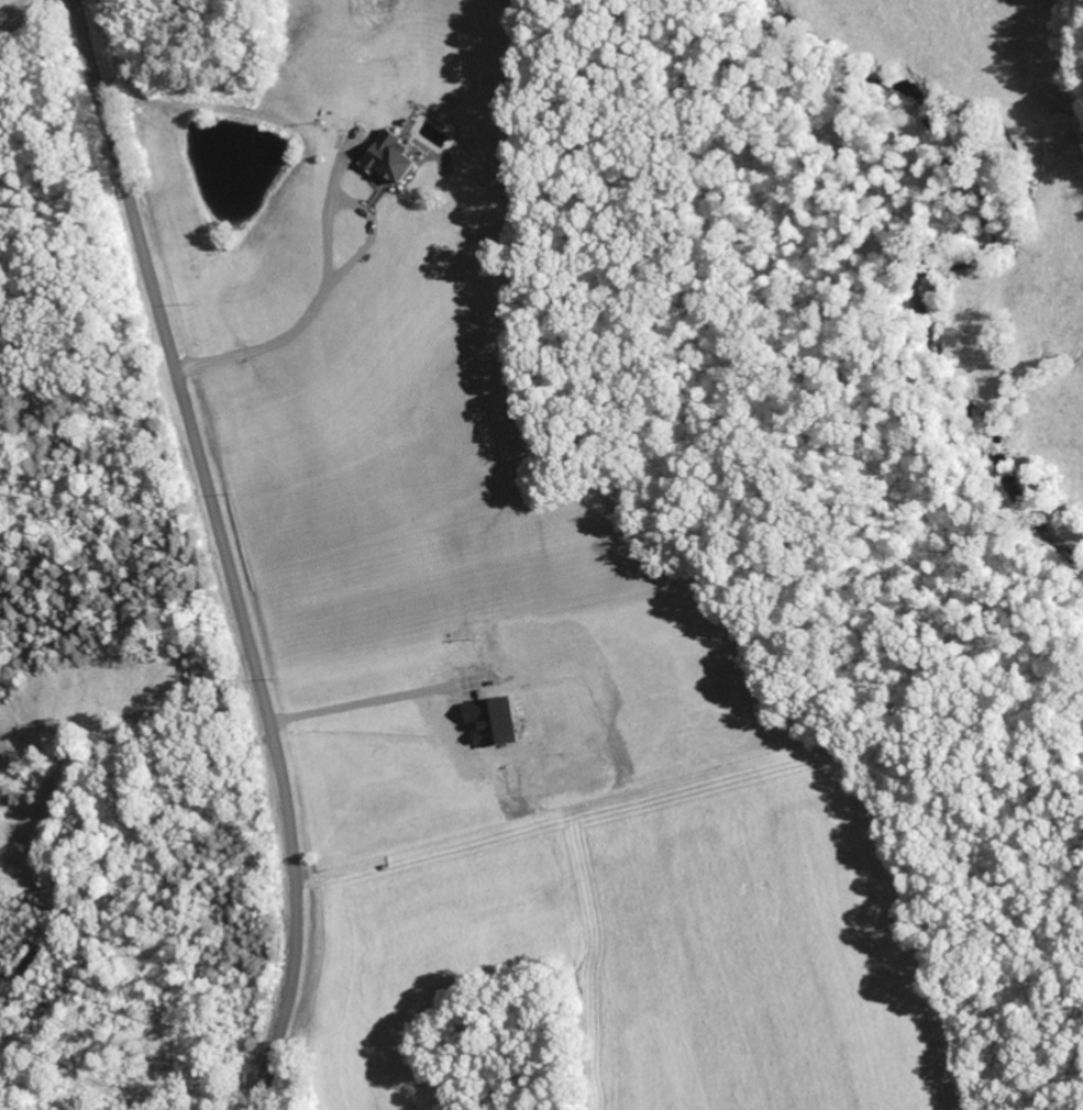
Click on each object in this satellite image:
building: (394, 158)
road: (224, 552)
building: (495, 721)

